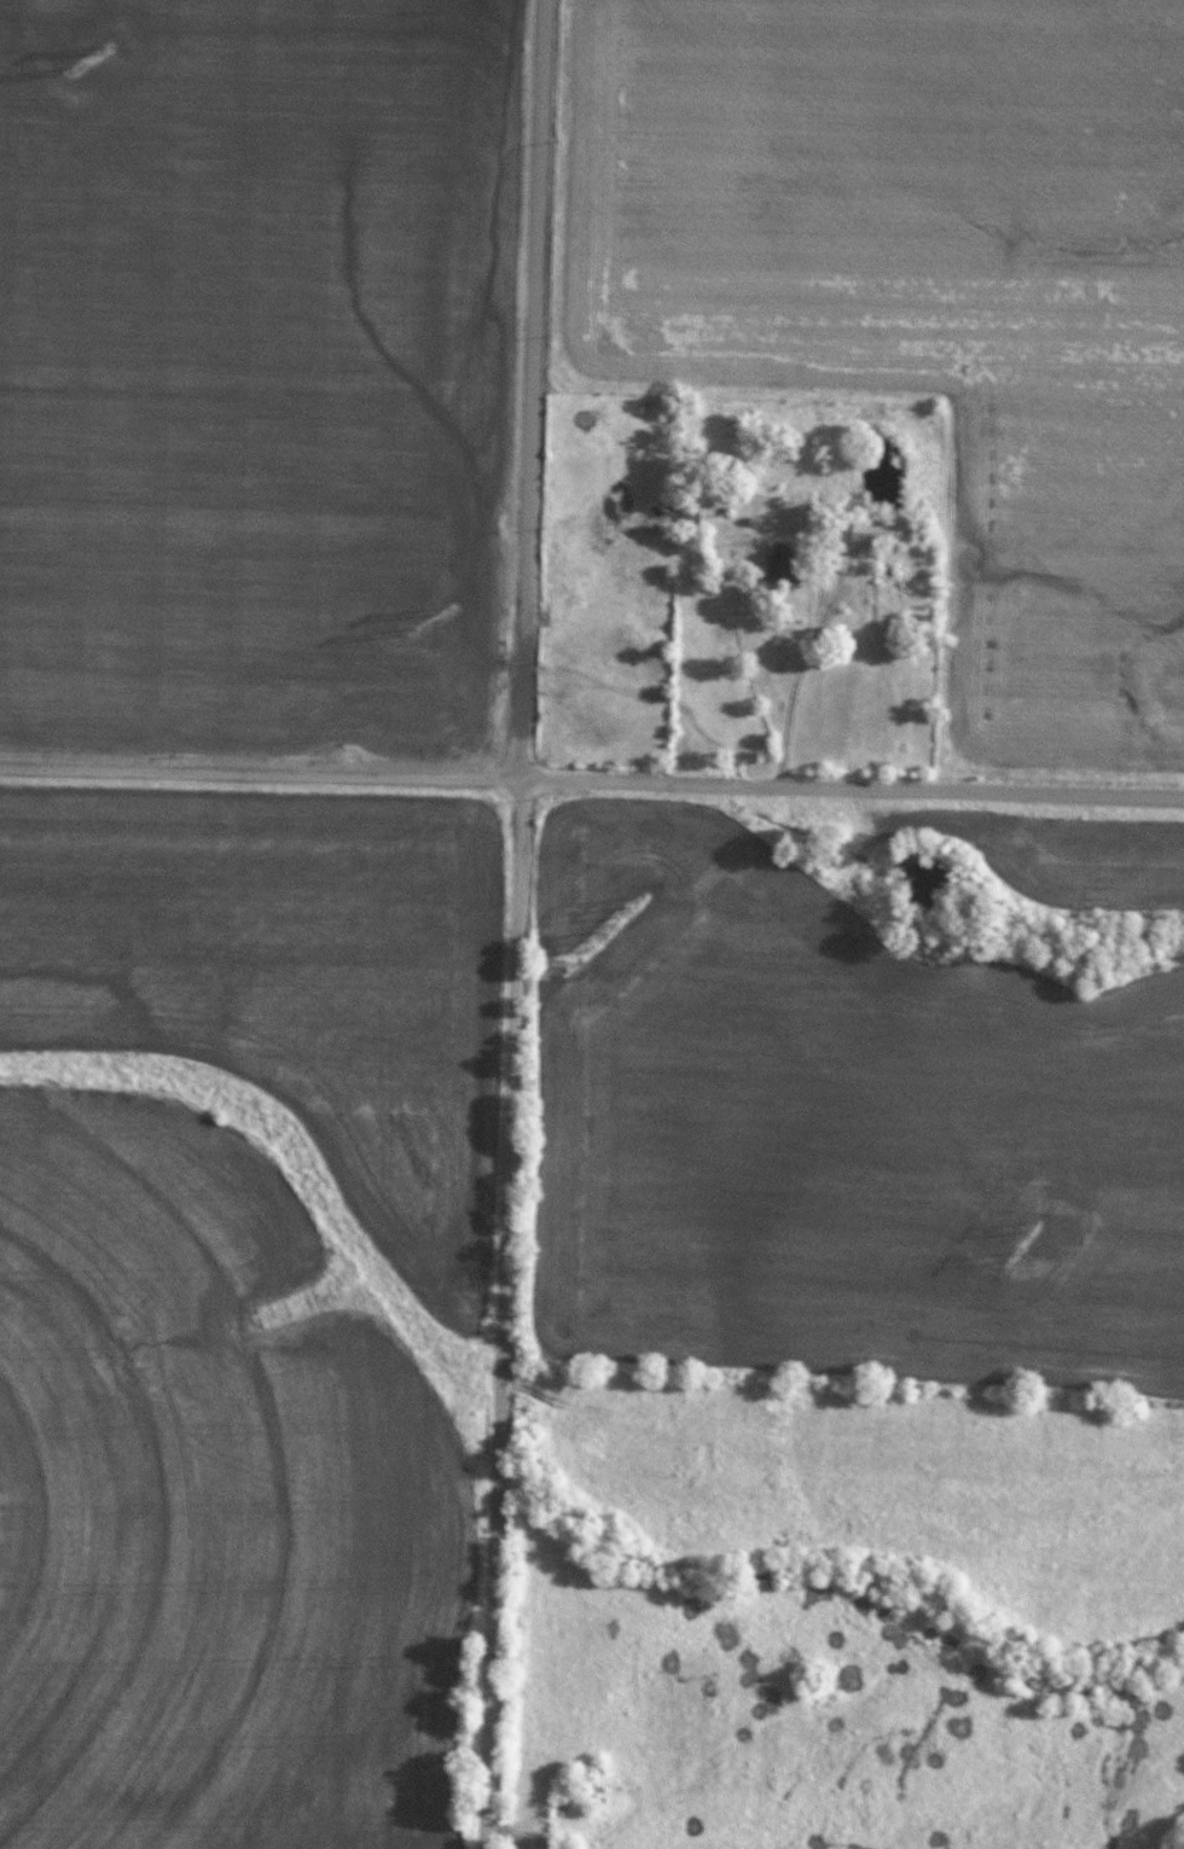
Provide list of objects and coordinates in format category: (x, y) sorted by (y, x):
power tower: (103, 48)
power tower: (65, 71)
road: (532, 389)
building: (880, 529)
building: (783, 562)
power tower: (447, 610)
power tower: (408, 634)
road: (793, 679)
road: (257, 772)
road: (849, 790)
power tower: (628, 905)
power tower: (590, 942)
power tower: (1033, 1222)
power tower: (1010, 1256)
road: (503, 1314)

